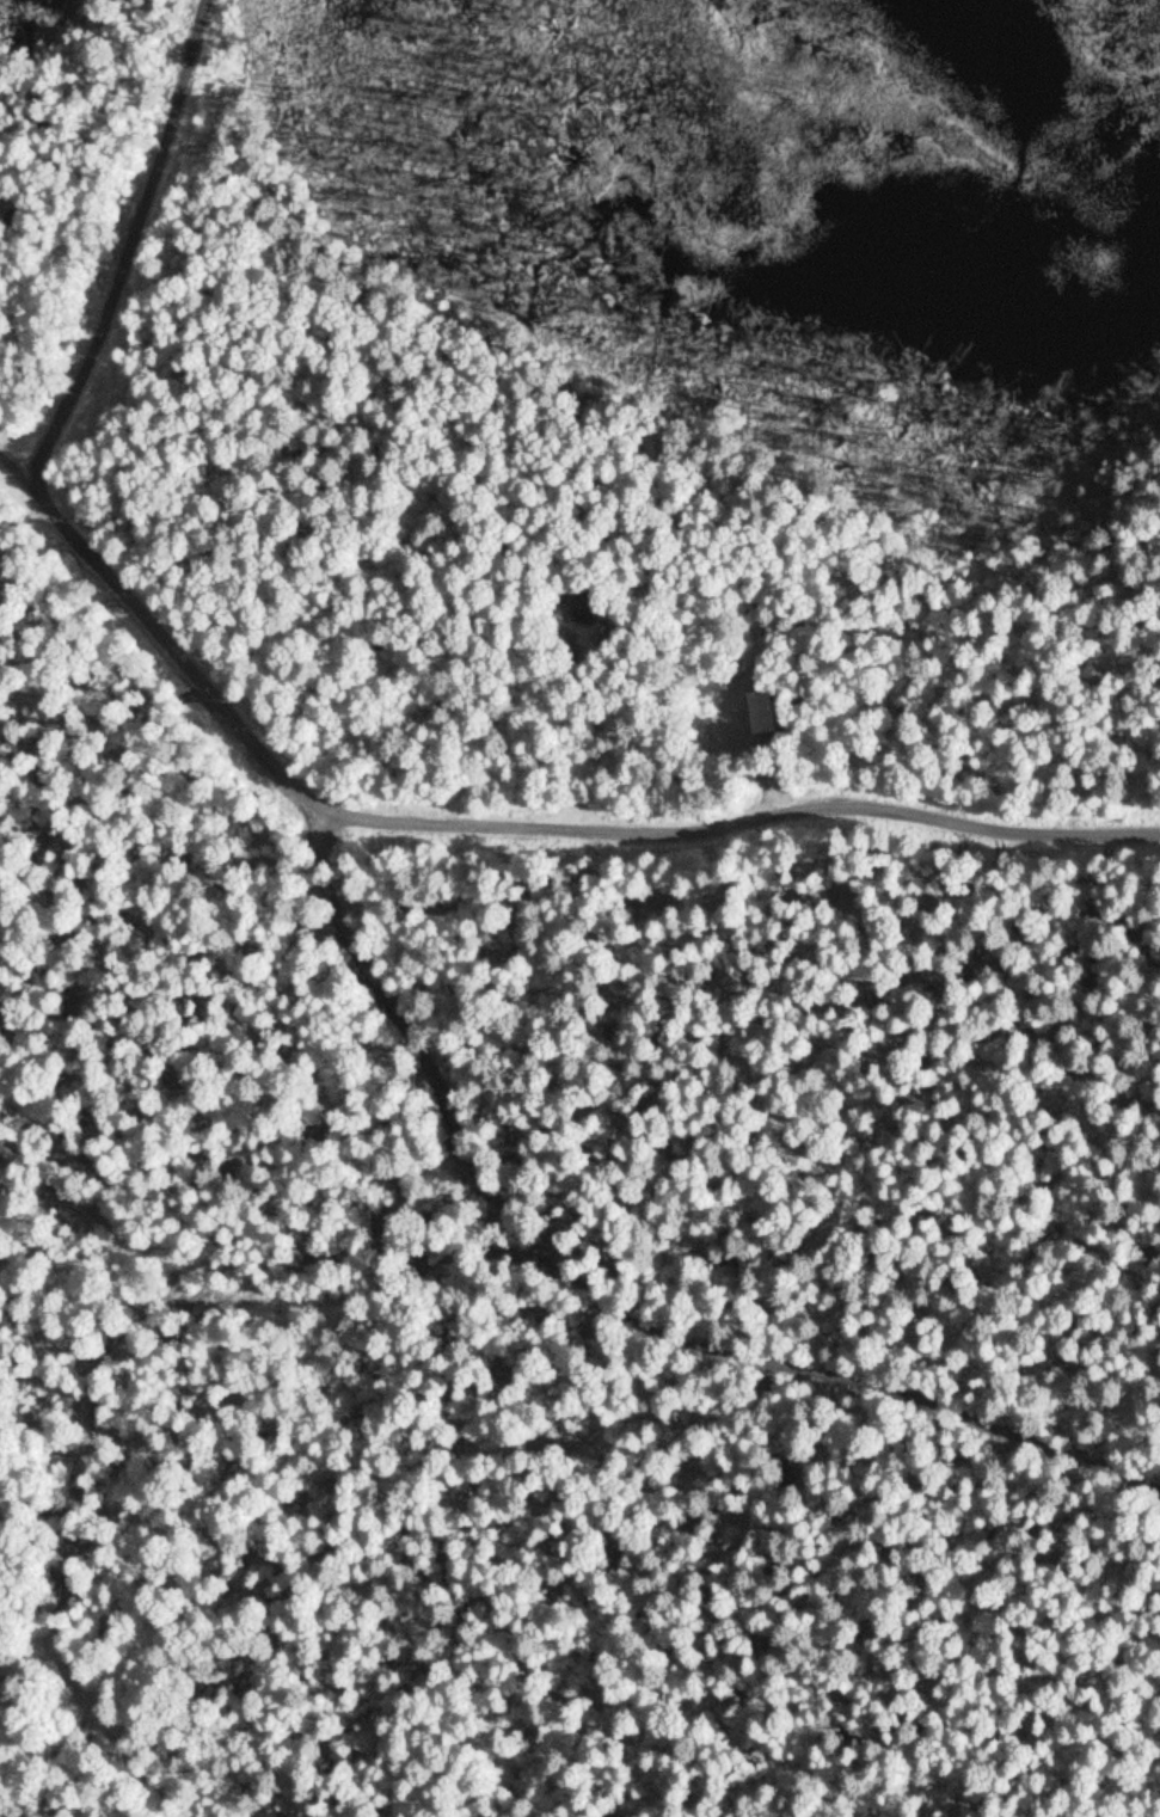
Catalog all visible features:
road: (131, 246)
building: (583, 606)
building: (759, 710)
road: (745, 767)
road: (502, 824)
road: (610, 1308)

